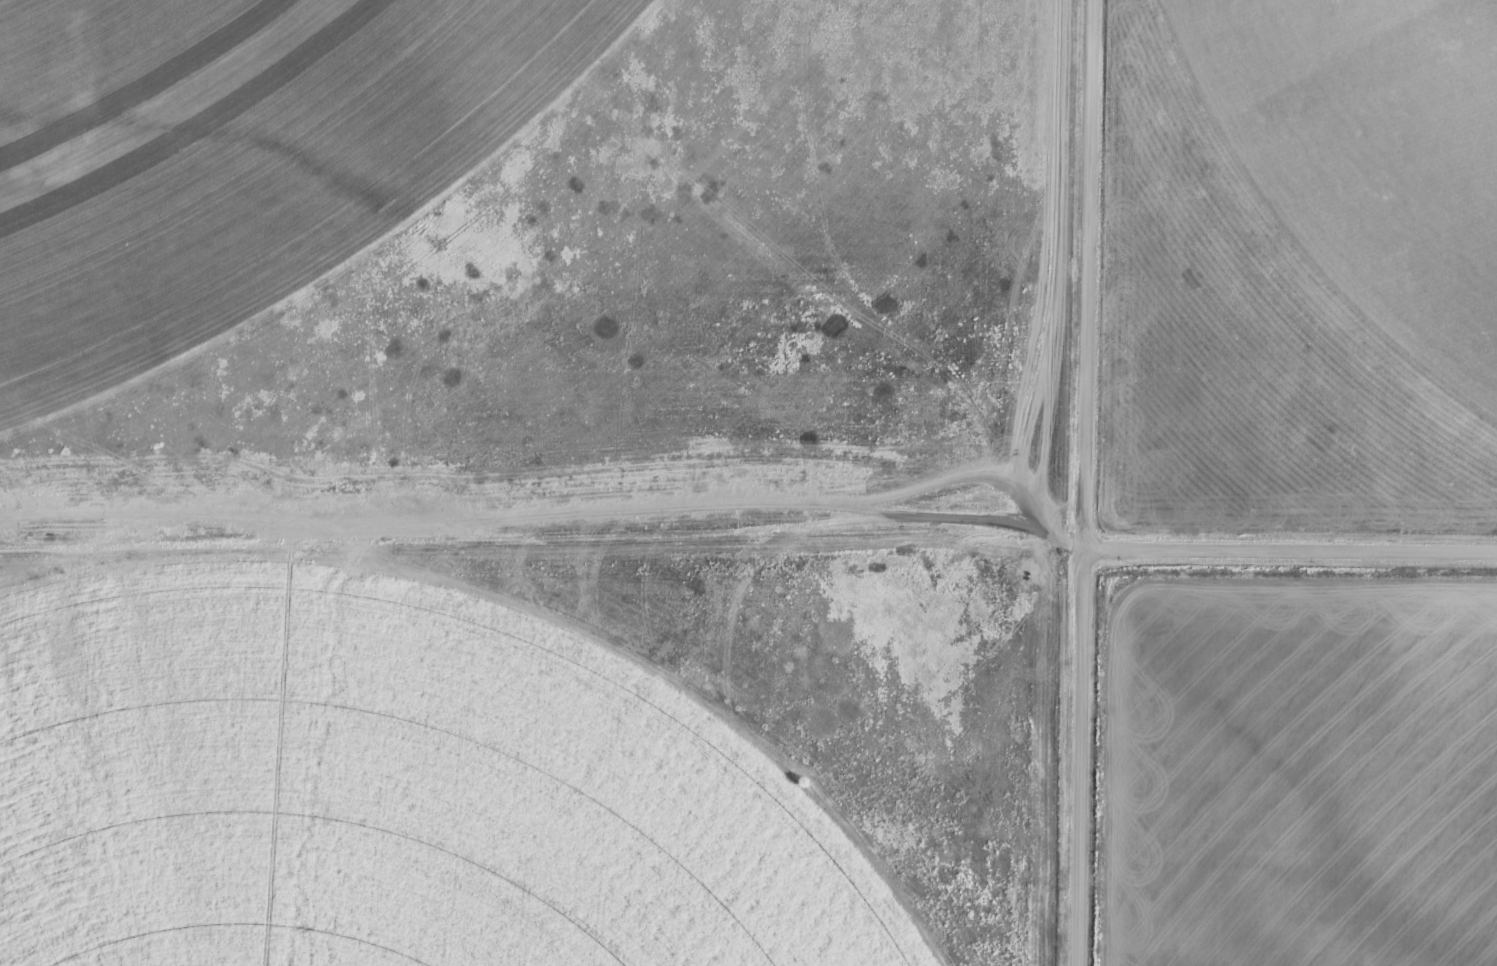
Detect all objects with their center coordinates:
road: (1086, 482)
road: (1291, 552)

